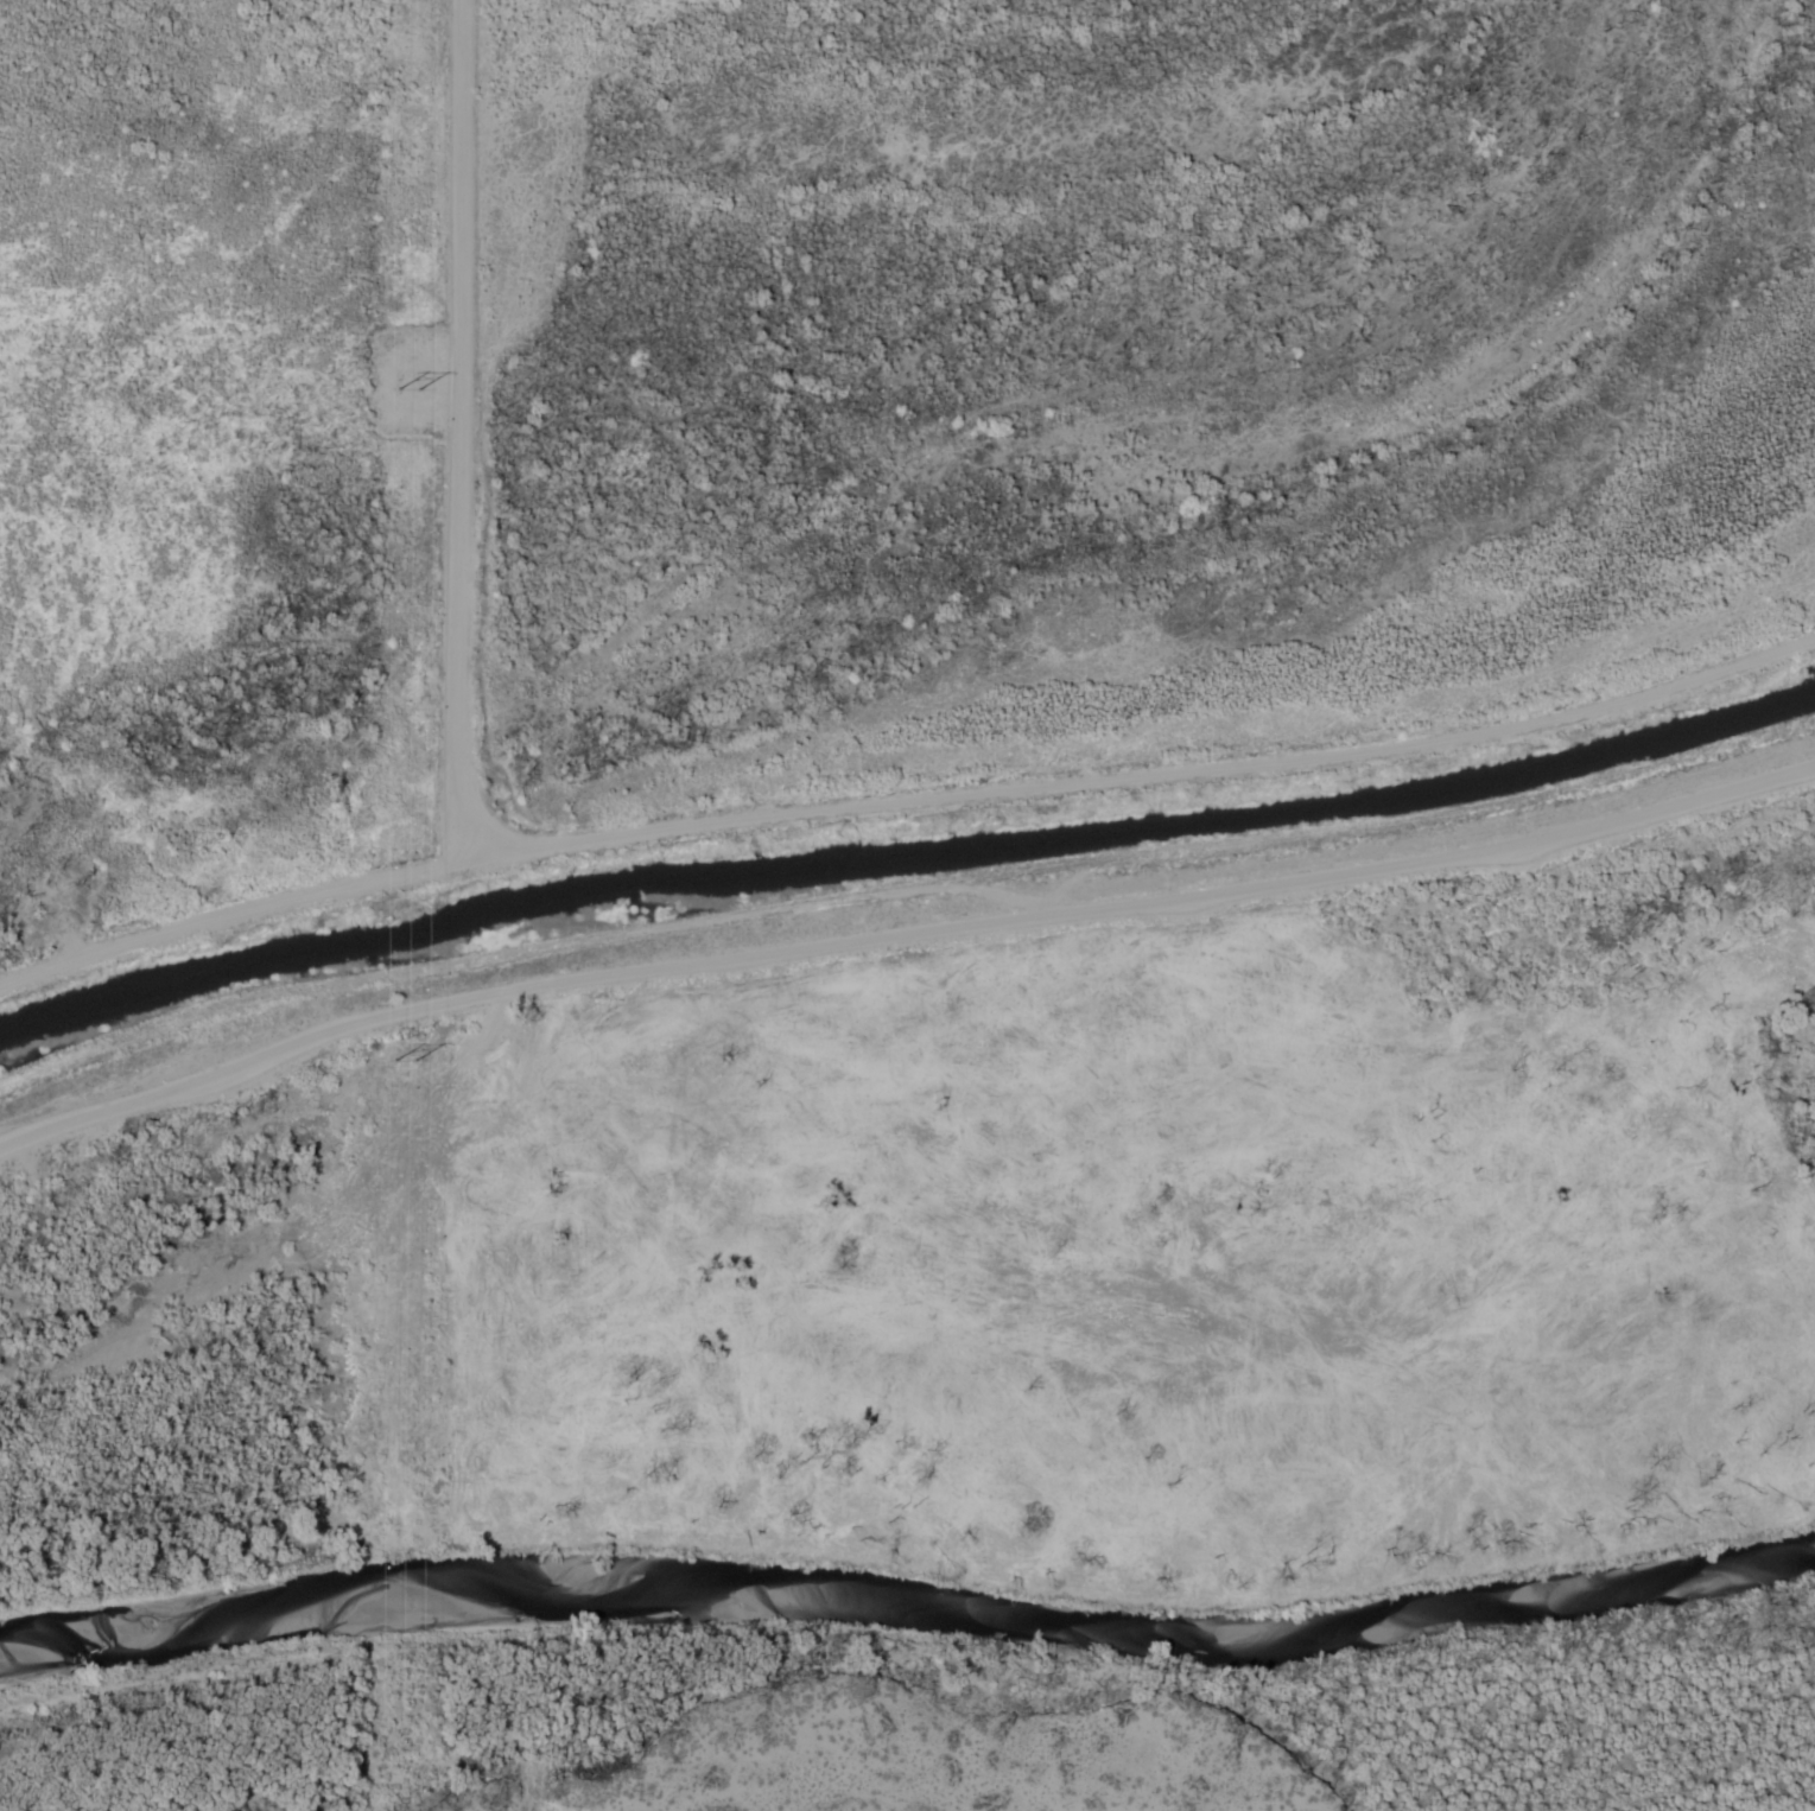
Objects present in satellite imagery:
power tower: (400, 381)
road: (905, 796)
road: (901, 933)
power tower: (396, 1059)
river: (909, 1600)

